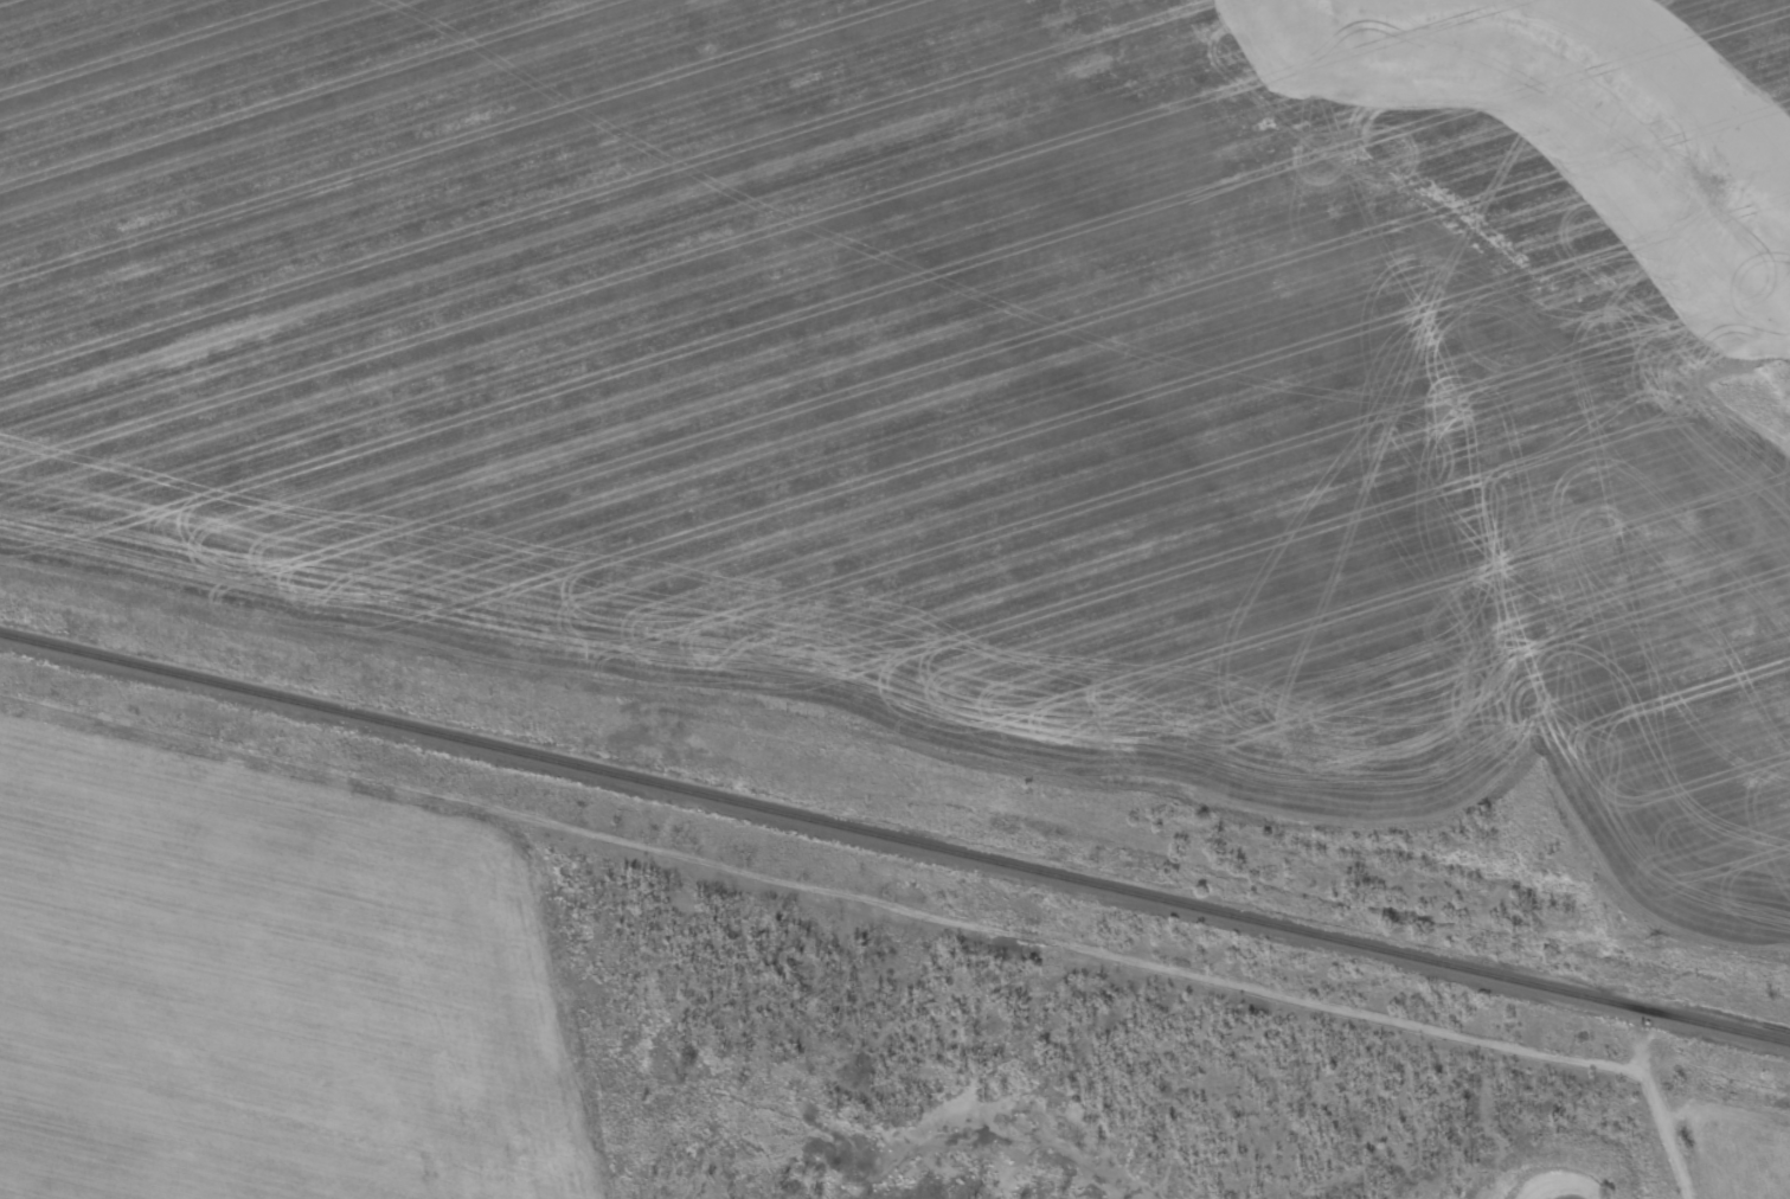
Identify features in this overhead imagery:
road: (1397, 216)
railway: (894, 838)

